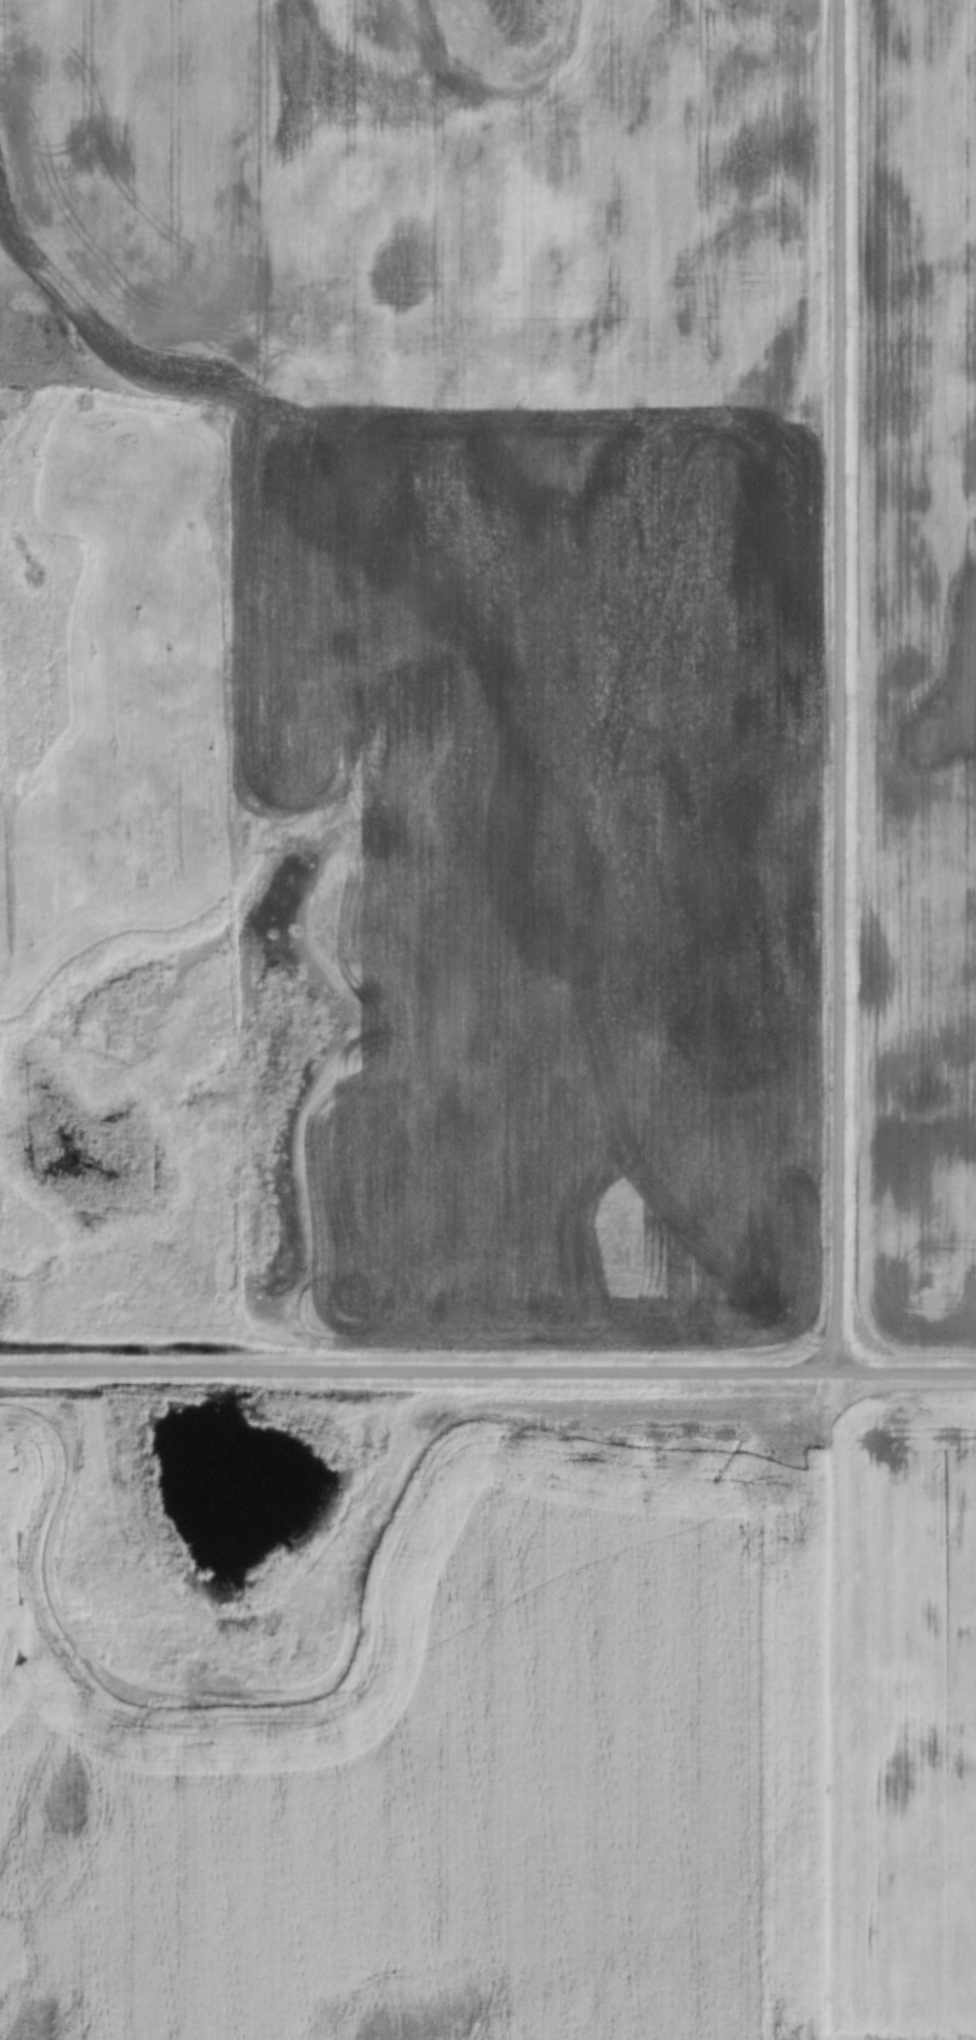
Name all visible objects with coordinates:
road: (846, 687)
road: (487, 1375)

